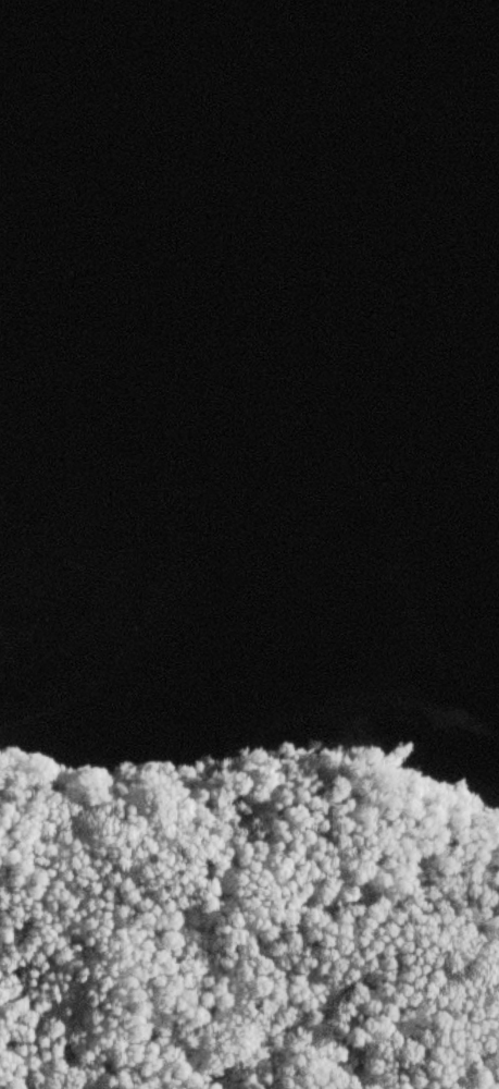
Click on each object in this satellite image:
river: (232, 268)

